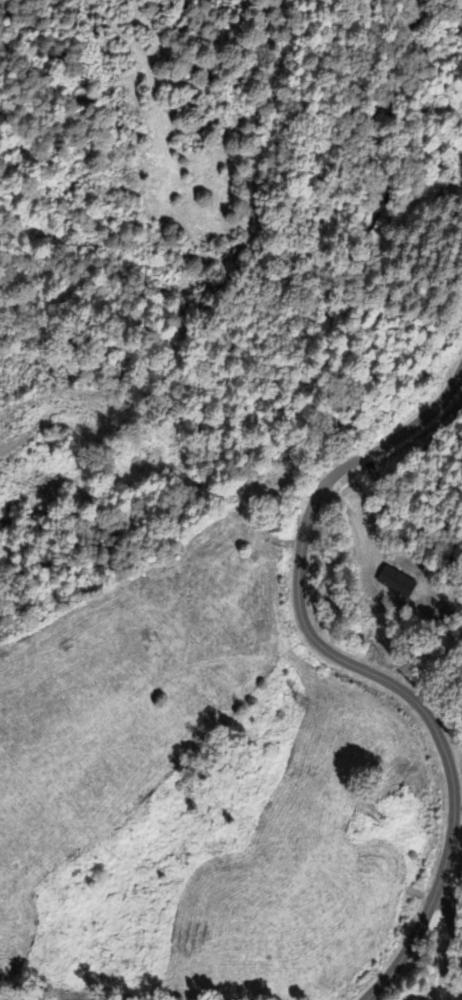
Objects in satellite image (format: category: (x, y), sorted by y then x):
road: (423, 417)
road: (365, 456)
building: (412, 571)
road: (418, 703)
road: (448, 940)

